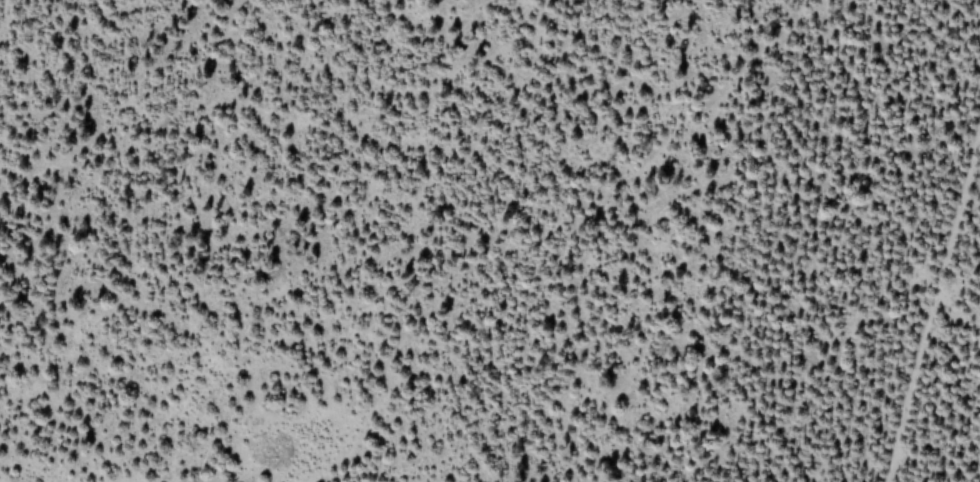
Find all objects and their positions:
road: (933, 304)

